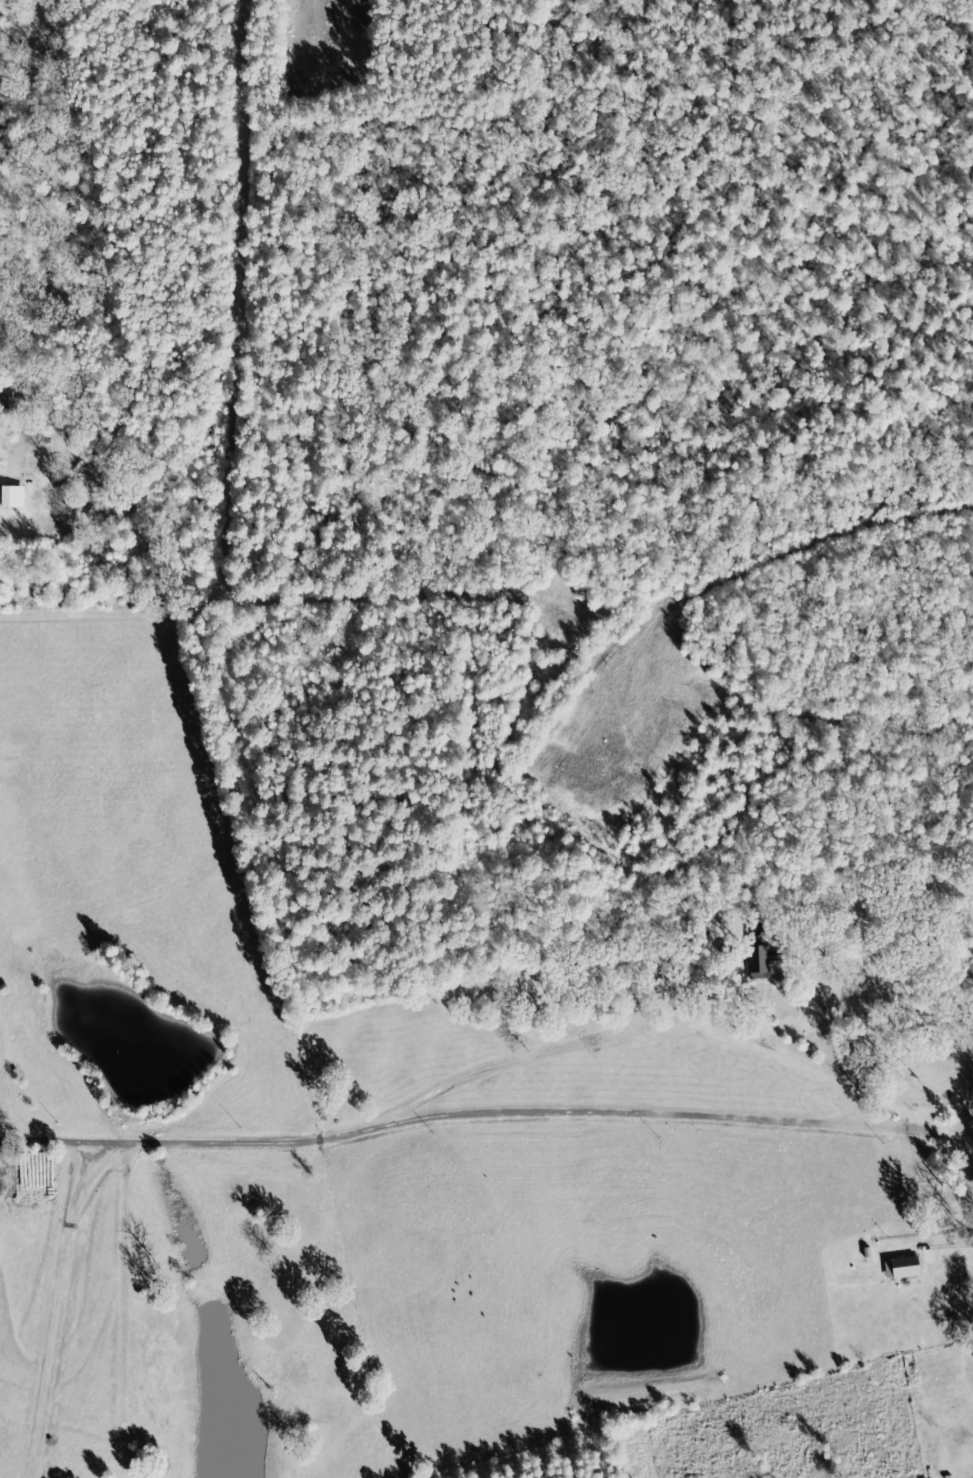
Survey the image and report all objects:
building: (16, 497)
building: (764, 959)
road: (481, 1069)
road: (972, 1125)
building: (907, 1267)

